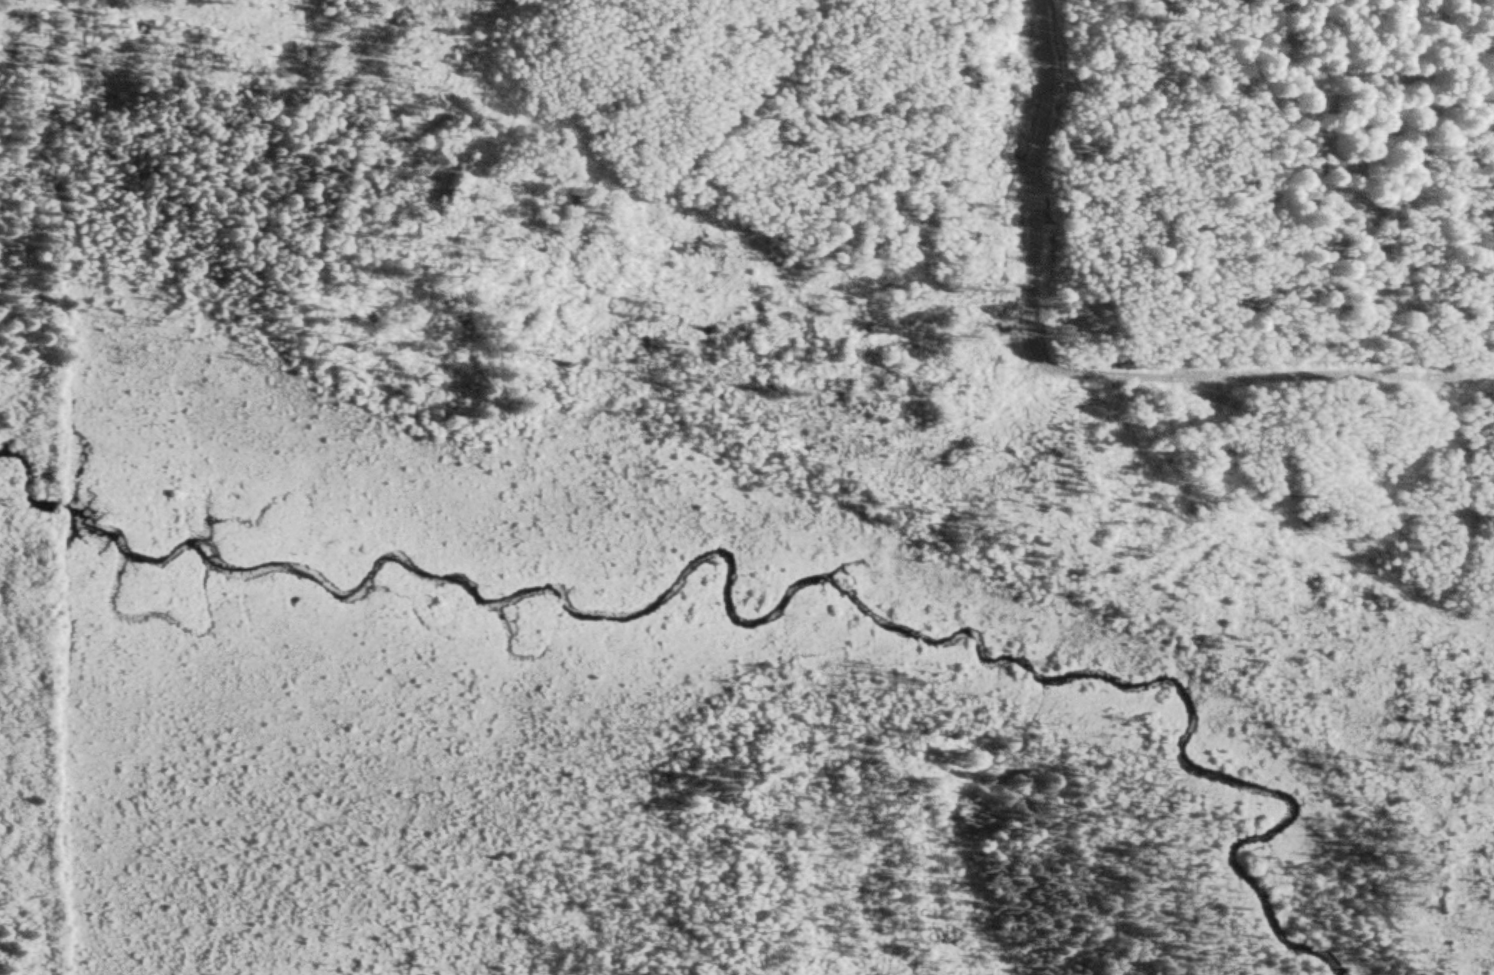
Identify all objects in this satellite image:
road: (60, 487)

